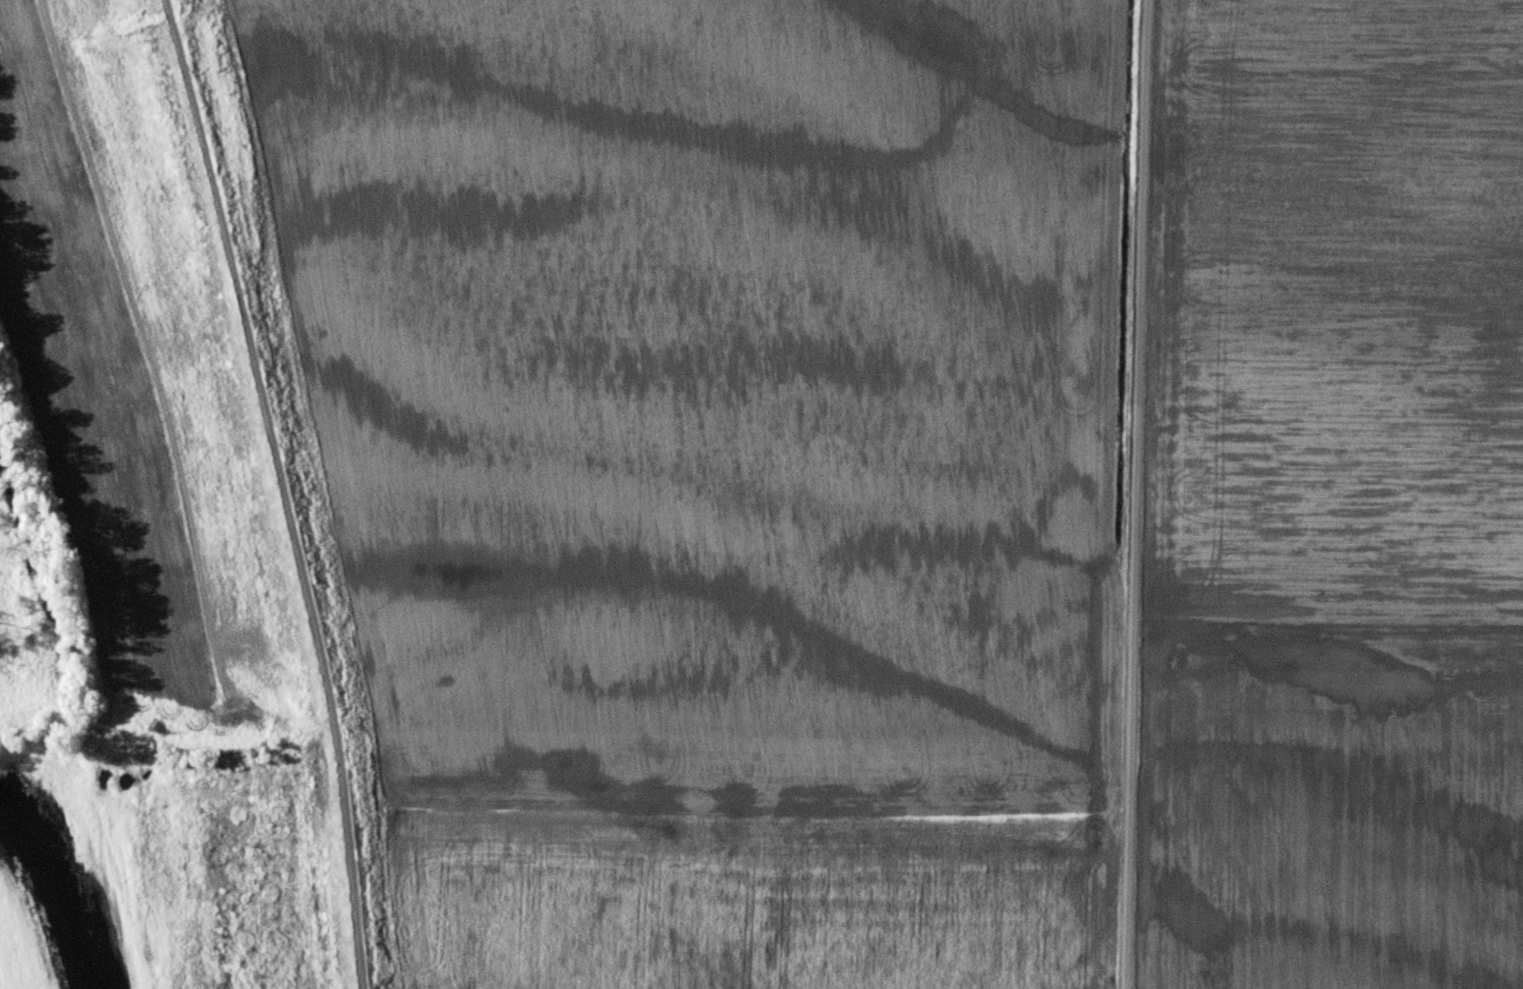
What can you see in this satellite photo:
road: (285, 490)
road: (1134, 494)

